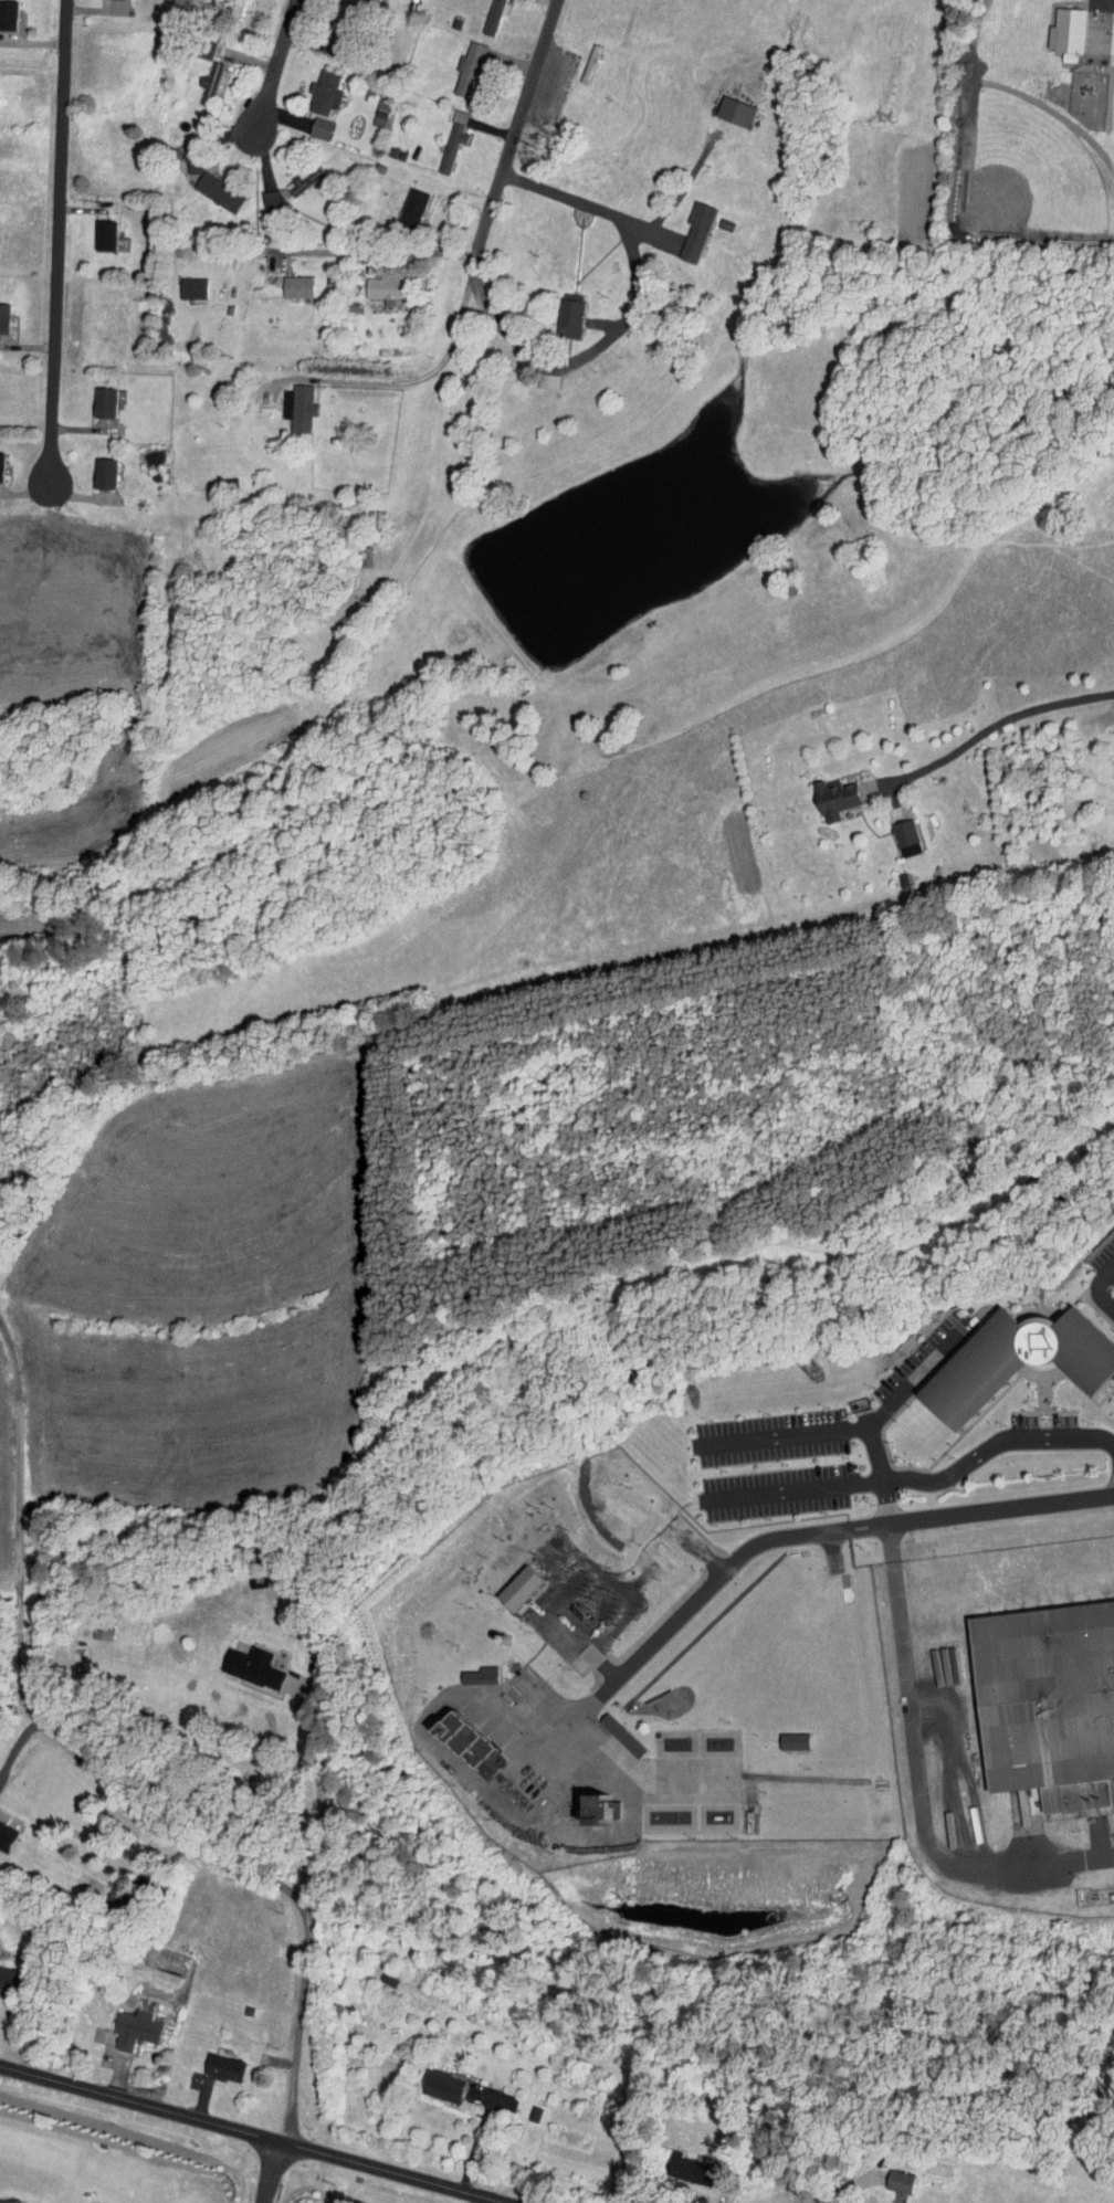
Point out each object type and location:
building: (0, 2)
building: (1052, 24)
building: (192, 43)
building: (453, 62)
building: (198, 72)
road: (272, 74)
building: (309, 86)
building: (719, 106)
road: (64, 115)
building: (306, 122)
building: (438, 141)
building: (203, 186)
building: (255, 192)
building: (397, 201)
building: (682, 225)
building: (90, 230)
road: (351, 251)
road: (474, 267)
building: (283, 281)
building: (179, 282)
building: (369, 282)
building: (2, 310)
building: (555, 312)
road: (629, 315)
road: (55, 356)
building: (533, 373)
building: (98, 394)
building: (293, 400)
building: (99, 465)
road: (994, 727)
building: (1112, 763)
building: (818, 791)
building: (891, 831)
road: (1101, 1287)
building: (999, 1355)
road: (917, 1378)
road: (835, 1430)
road: (918, 1480)
road: (1030, 1503)
road: (19, 1508)
road: (897, 1520)
road: (833, 1553)
building: (503, 1581)
road: (629, 1590)
building: (92, 1625)
road: (567, 1628)
road: (659, 1633)
building: (245, 1661)
building: (464, 1669)
building: (1036, 1691)
building: (606, 1728)
building: (444, 1732)
building: (777, 1735)
road: (20, 1740)
road: (901, 1788)
road: (316, 1798)
building: (579, 1803)
building: (4, 1832)
road: (258, 1875)
building: (119, 2021)
building: (209, 2059)
building: (427, 2078)
road: (248, 2133)
building: (671, 2160)
road: (270, 2173)
building: (883, 2173)
road: (853, 2188)
building: (6, 2199)
road: (480, 2201)
building: (873, 2202)

